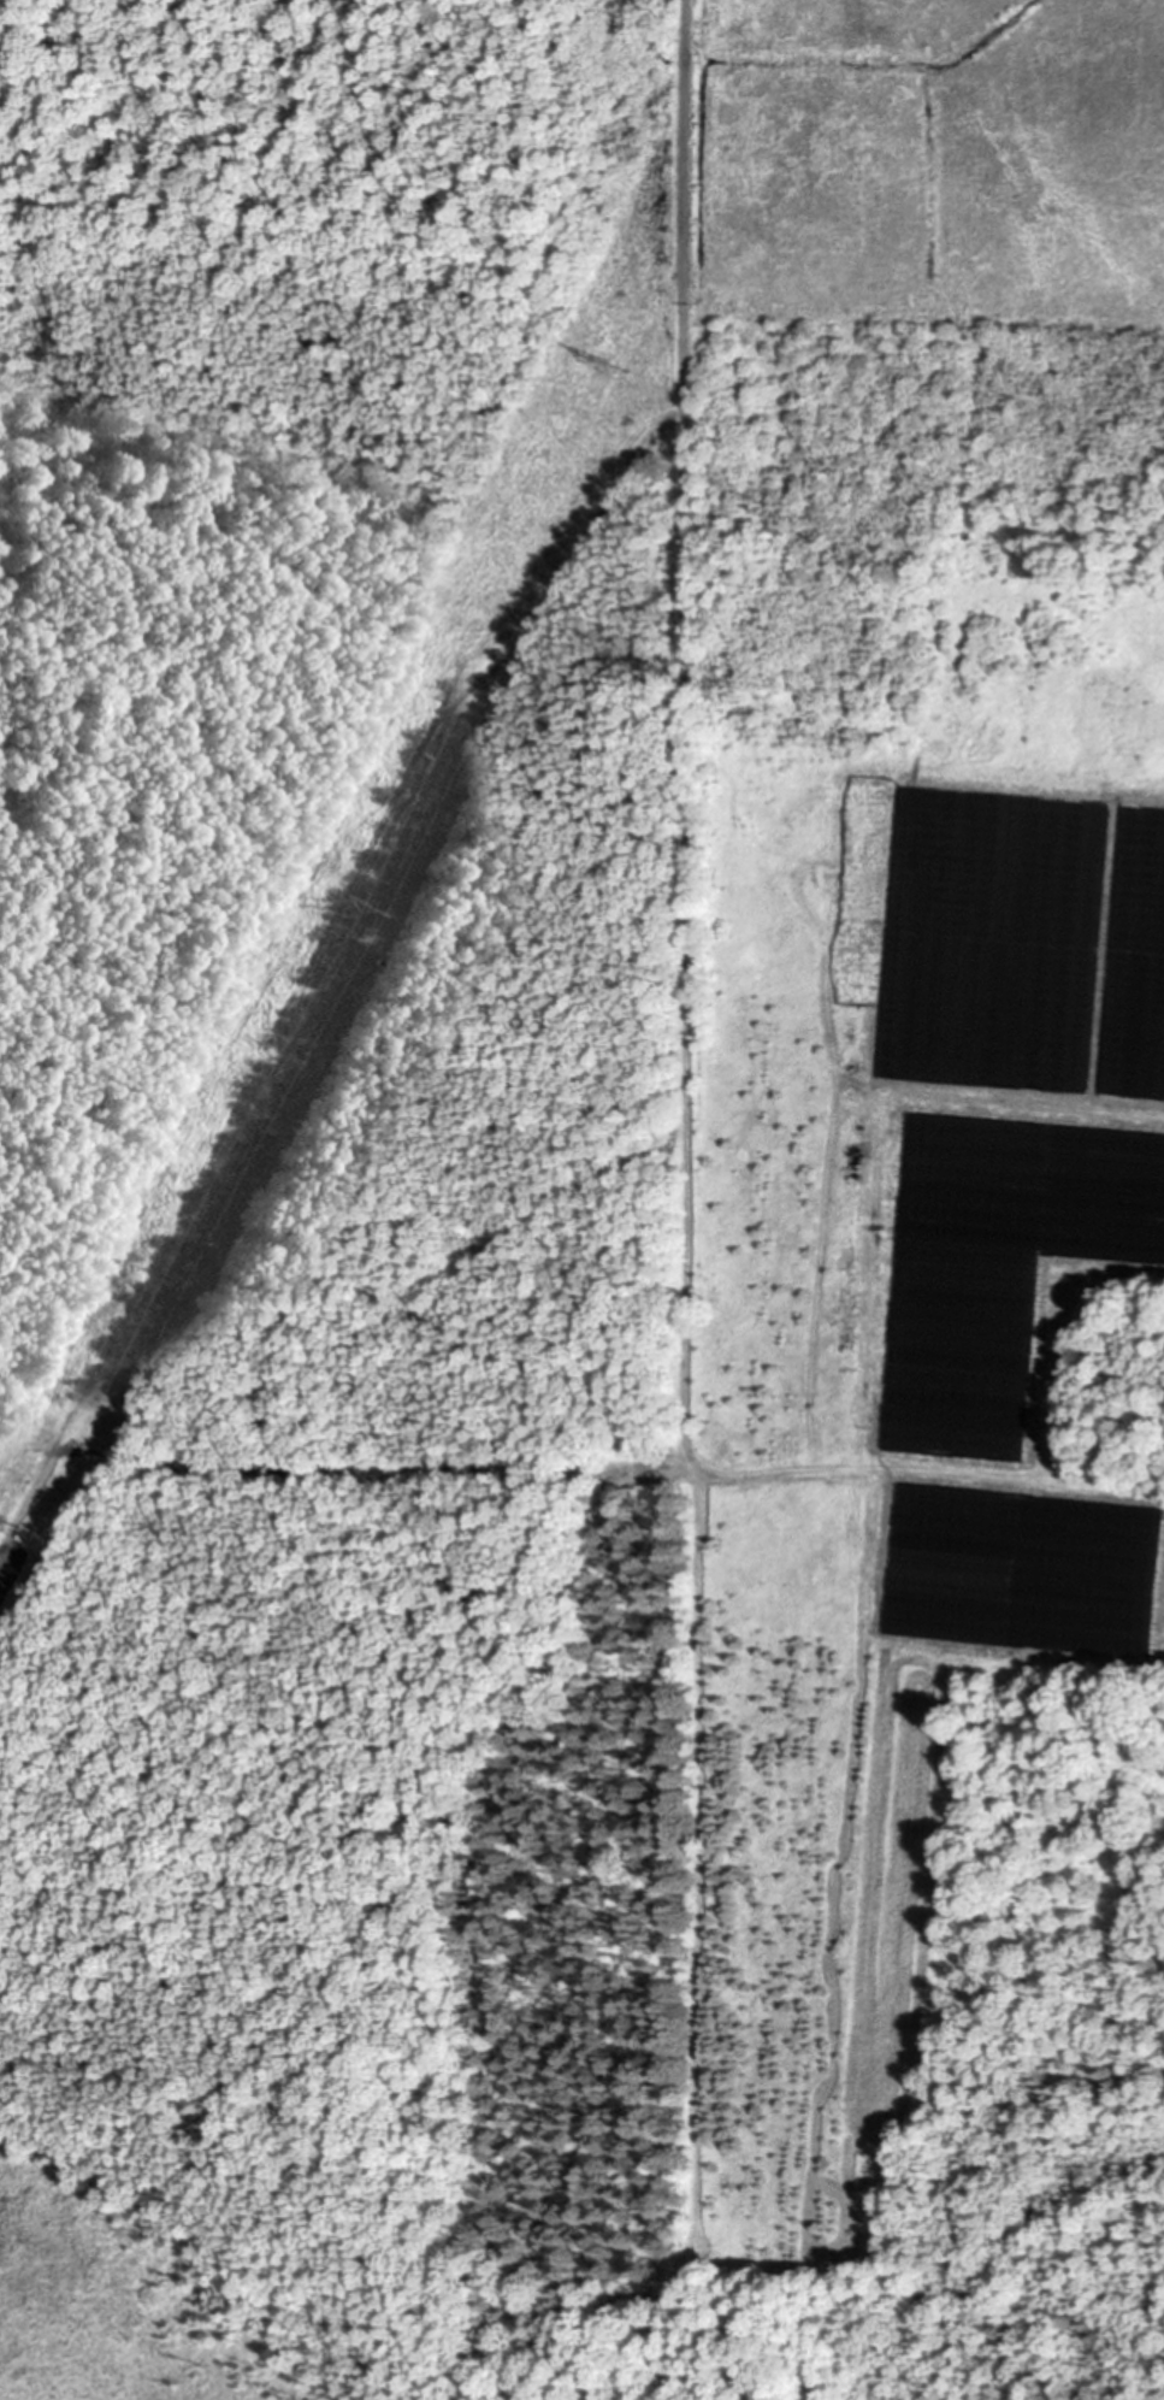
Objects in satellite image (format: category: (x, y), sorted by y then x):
crop: (929, 157)
road: (687, 725)
crop: (906, 1325)

